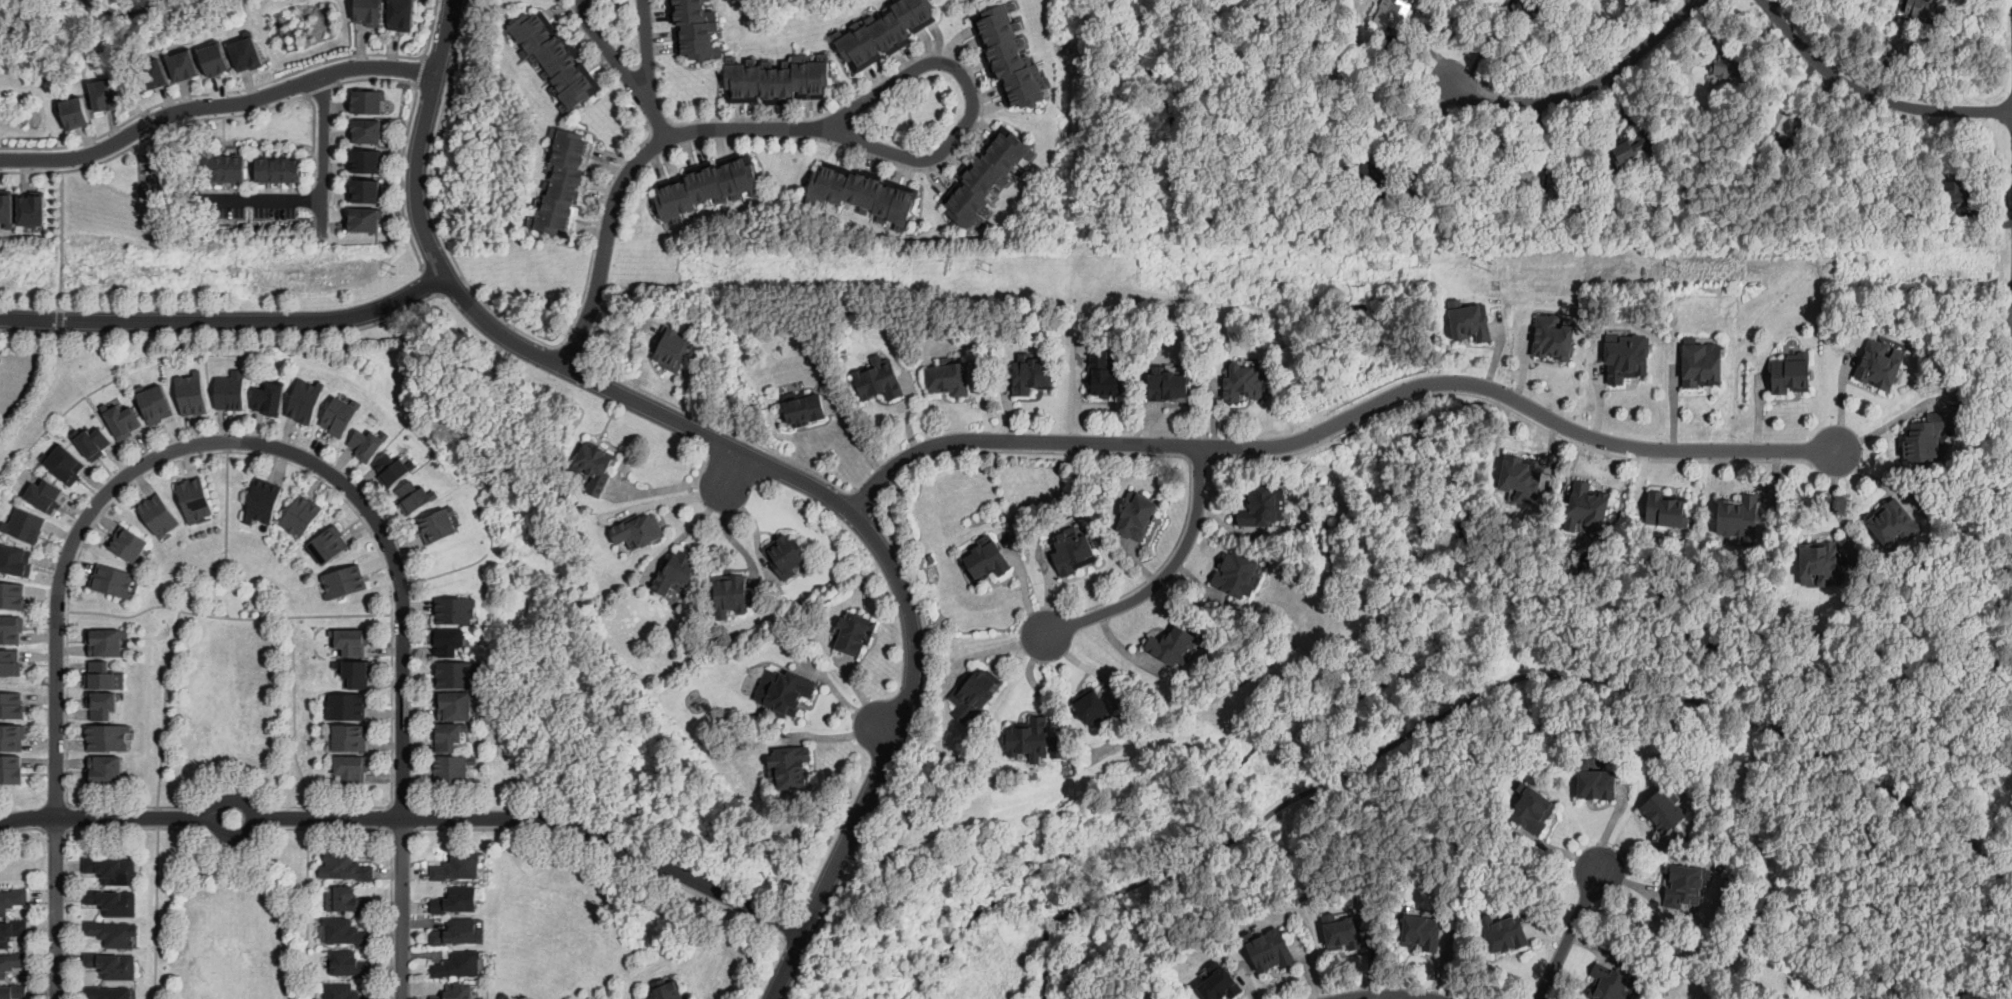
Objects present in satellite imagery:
building: (1488, 2)
building: (691, 4)
building: (1523, 8)
building: (927, 9)
building: (1922, 9)
building: (370, 12)
building: (912, 12)
road: (123, 13)
building: (1393, 13)
road: (11, 14)
building: (407, 14)
building: (693, 17)
building: (900, 23)
building: (885, 30)
building: (1619, 30)
building: (524, 31)
building: (701, 31)
building: (869, 36)
building: (534, 43)
building: (855, 44)
building: (702, 46)
building: (550, 52)
building: (247, 55)
building: (1016, 58)
building: (222, 60)
building: (699, 61)
building: (559, 64)
building: (1727, 65)
building: (184, 66)
building: (805, 72)
building: (822, 72)
building: (737, 74)
building: (754, 74)
road: (130, 75)
building: (771, 77)
building: (788, 77)
building: (568, 78)
road: (1588, 86)
road: (638, 87)
building: (578, 91)
road: (1869, 94)
building: (106, 96)
road: (971, 98)
building: (365, 100)
road: (216, 104)
building: (76, 113)
road: (910, 116)
road: (656, 117)
building: (1785, 124)
building: (364, 130)
road: (1437, 134)
building: (572, 141)
building: (1006, 147)
building: (1637, 148)
road: (323, 154)
building: (569, 156)
building: (361, 159)
building: (994, 159)
road: (629, 166)
building: (981, 168)
building: (284, 170)
building: (570, 172)
building: (812, 178)
building: (970, 179)
building: (1375, 179)
building: (829, 181)
building: (1527, 181)
building: (847, 182)
building: (716, 183)
building: (566, 186)
building: (863, 187)
building: (362, 190)
building: (878, 194)
building: (964, 194)
building: (1955, 195)
road: (264, 198)
road: (432, 199)
building: (896, 199)
building: (559, 200)
building: (954, 205)
building: (10, 206)
road: (1269, 208)
building: (32, 209)
building: (553, 216)
building: (364, 220)
building: (1897, 222)
road: (598, 228)
road: (63, 244)
building: (1475, 307)
road: (227, 320)
building: (1462, 320)
building: (1556, 325)
road: (597, 326)
road: (231, 334)
building: (1543, 336)
building: (672, 349)
road: (570, 351)
building: (1629, 356)
building: (1705, 359)
building: (1879, 362)
building: (1104, 374)
building: (1791, 374)
building: (1032, 375)
building: (950, 378)
building: (879, 380)
building: (1245, 382)
building: (1168, 385)
building: (189, 394)
building: (229, 396)
building: (273, 397)
building: (152, 406)
building: (303, 408)
building: (805, 409)
building: (343, 415)
road: (1335, 421)
building: (121, 422)
road: (1352, 427)
road: (1877, 432)
road: (735, 434)
building: (1931, 435)
road: (230, 439)
building: (92, 442)
building: (370, 443)
road: (206, 452)
road: (755, 455)
building: (70, 462)
road: (735, 467)
building: (596, 468)
building: (1526, 468)
building: (393, 469)
building: (1510, 476)
road: (484, 486)
road: (676, 486)
building: (45, 498)
building: (415, 498)
road: (676, 498)
building: (1592, 499)
building: (194, 500)
building: (265, 503)
building: (1669, 505)
building: (1264, 506)
road: (225, 508)
building: (1741, 515)
building: (302, 516)
building: (1137, 516)
building: (159, 518)
building: (29, 523)
building: (1895, 523)
road: (694, 524)
building: (437, 525)
building: (639, 530)
road: (729, 532)
building: (128, 546)
building: (328, 547)
building: (1073, 552)
building: (783, 554)
building: (931, 557)
building: (985, 559)
building: (14, 561)
building: (1824, 563)
road: (1159, 567)
road: (1165, 569)
building: (676, 573)
building: (1238, 575)
road: (226, 578)
building: (346, 580)
building: (114, 581)
building: (732, 595)
building: (11, 598)
building: (456, 610)
road: (227, 618)
road: (1601, 625)
building: (8, 631)
building: (855, 633)
building: (448, 640)
building: (352, 641)
building: (107, 644)
building: (1173, 645)
building: (8, 665)
building: (359, 674)
building: (99, 675)
building: (457, 676)
road: (1030, 676)
building: (974, 685)
building: (789, 692)
road: (1482, 692)
road: (864, 697)
road: (845, 700)
building: (103, 704)
building: (11, 706)
building: (347, 707)
building: (455, 707)
building: (1092, 707)
road: (911, 729)
road: (841, 734)
building: (448, 736)
building: (351, 737)
building: (1028, 737)
building: (107, 738)
building: (12, 739)
building: (1059, 748)
building: (792, 766)
building: (352, 768)
building: (9, 770)
building: (451, 770)
building: (107, 771)
building: (1597, 784)
road: (235, 786)
building: (1534, 809)
building: (1664, 809)
road: (107, 816)
road: (540, 816)
road: (215, 817)
road: (22, 829)
road: (223, 844)
road: (614, 853)
building: (347, 867)
building: (458, 868)
building: (112, 870)
road: (2003, 881)
building: (1686, 886)
building: (350, 899)
building: (12, 900)
building: (455, 900)
building: (110, 902)
road: (55, 906)
road: (401, 907)
road: (392, 913)
road: (68, 917)
building: (12, 931)
building: (346, 932)
building: (456, 932)
building: (112, 933)
building: (1344, 933)
building: (1422, 933)
building: (1505, 933)
road: (1569, 935)
building: (769, 941)
building: (1270, 950)
building: (12, 963)
building: (349, 964)
building: (458, 965)
building: (113, 966)
road: (796, 974)
building: (1221, 984)
building: (1610, 984)
building: (666, 990)
building: (343, 991)
building: (14, 992)
building: (456, 992)
building: (107, 993)
road: (1381, 993)

